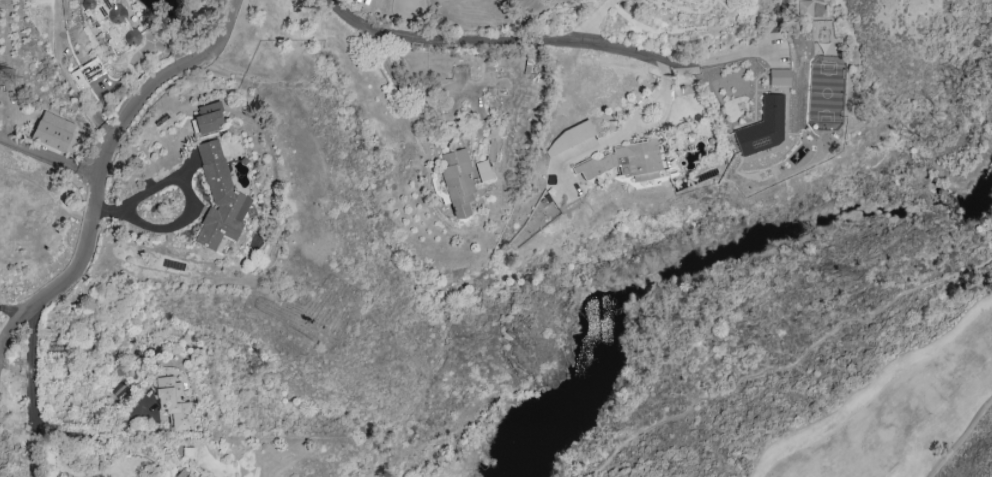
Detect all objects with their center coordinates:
building: (804, 8)
road: (595, 20)
building: (111, 24)
road: (508, 40)
road: (737, 54)
building: (87, 74)
power tower: (9, 76)
building: (778, 77)
road: (417, 92)
building: (208, 117)
building: (762, 127)
building: (52, 131)
road: (51, 156)
building: (628, 160)
road: (107, 167)
building: (607, 174)
building: (457, 181)
building: (219, 198)
road: (191, 213)
river: (710, 258)
road: (15, 310)
road: (792, 363)
road: (32, 395)
building: (173, 403)
park: (893, 412)
road: (92, 438)
building: (188, 475)
road: (592, 475)

